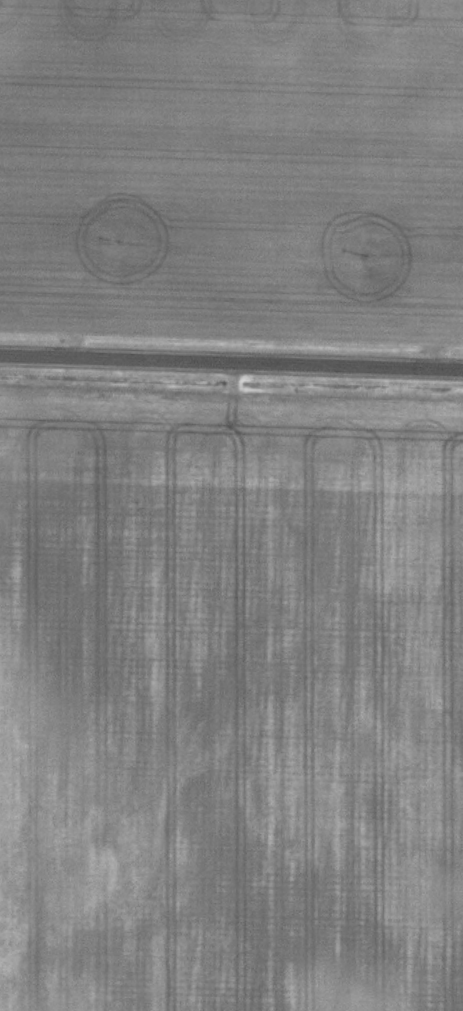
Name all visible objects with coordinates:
road: (231, 366)

